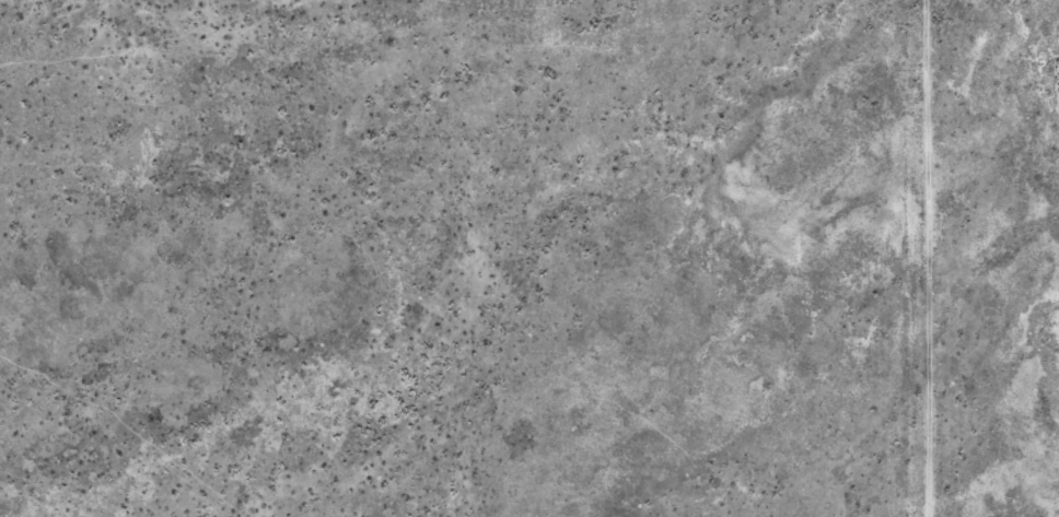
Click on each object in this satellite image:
road: (888, 258)

